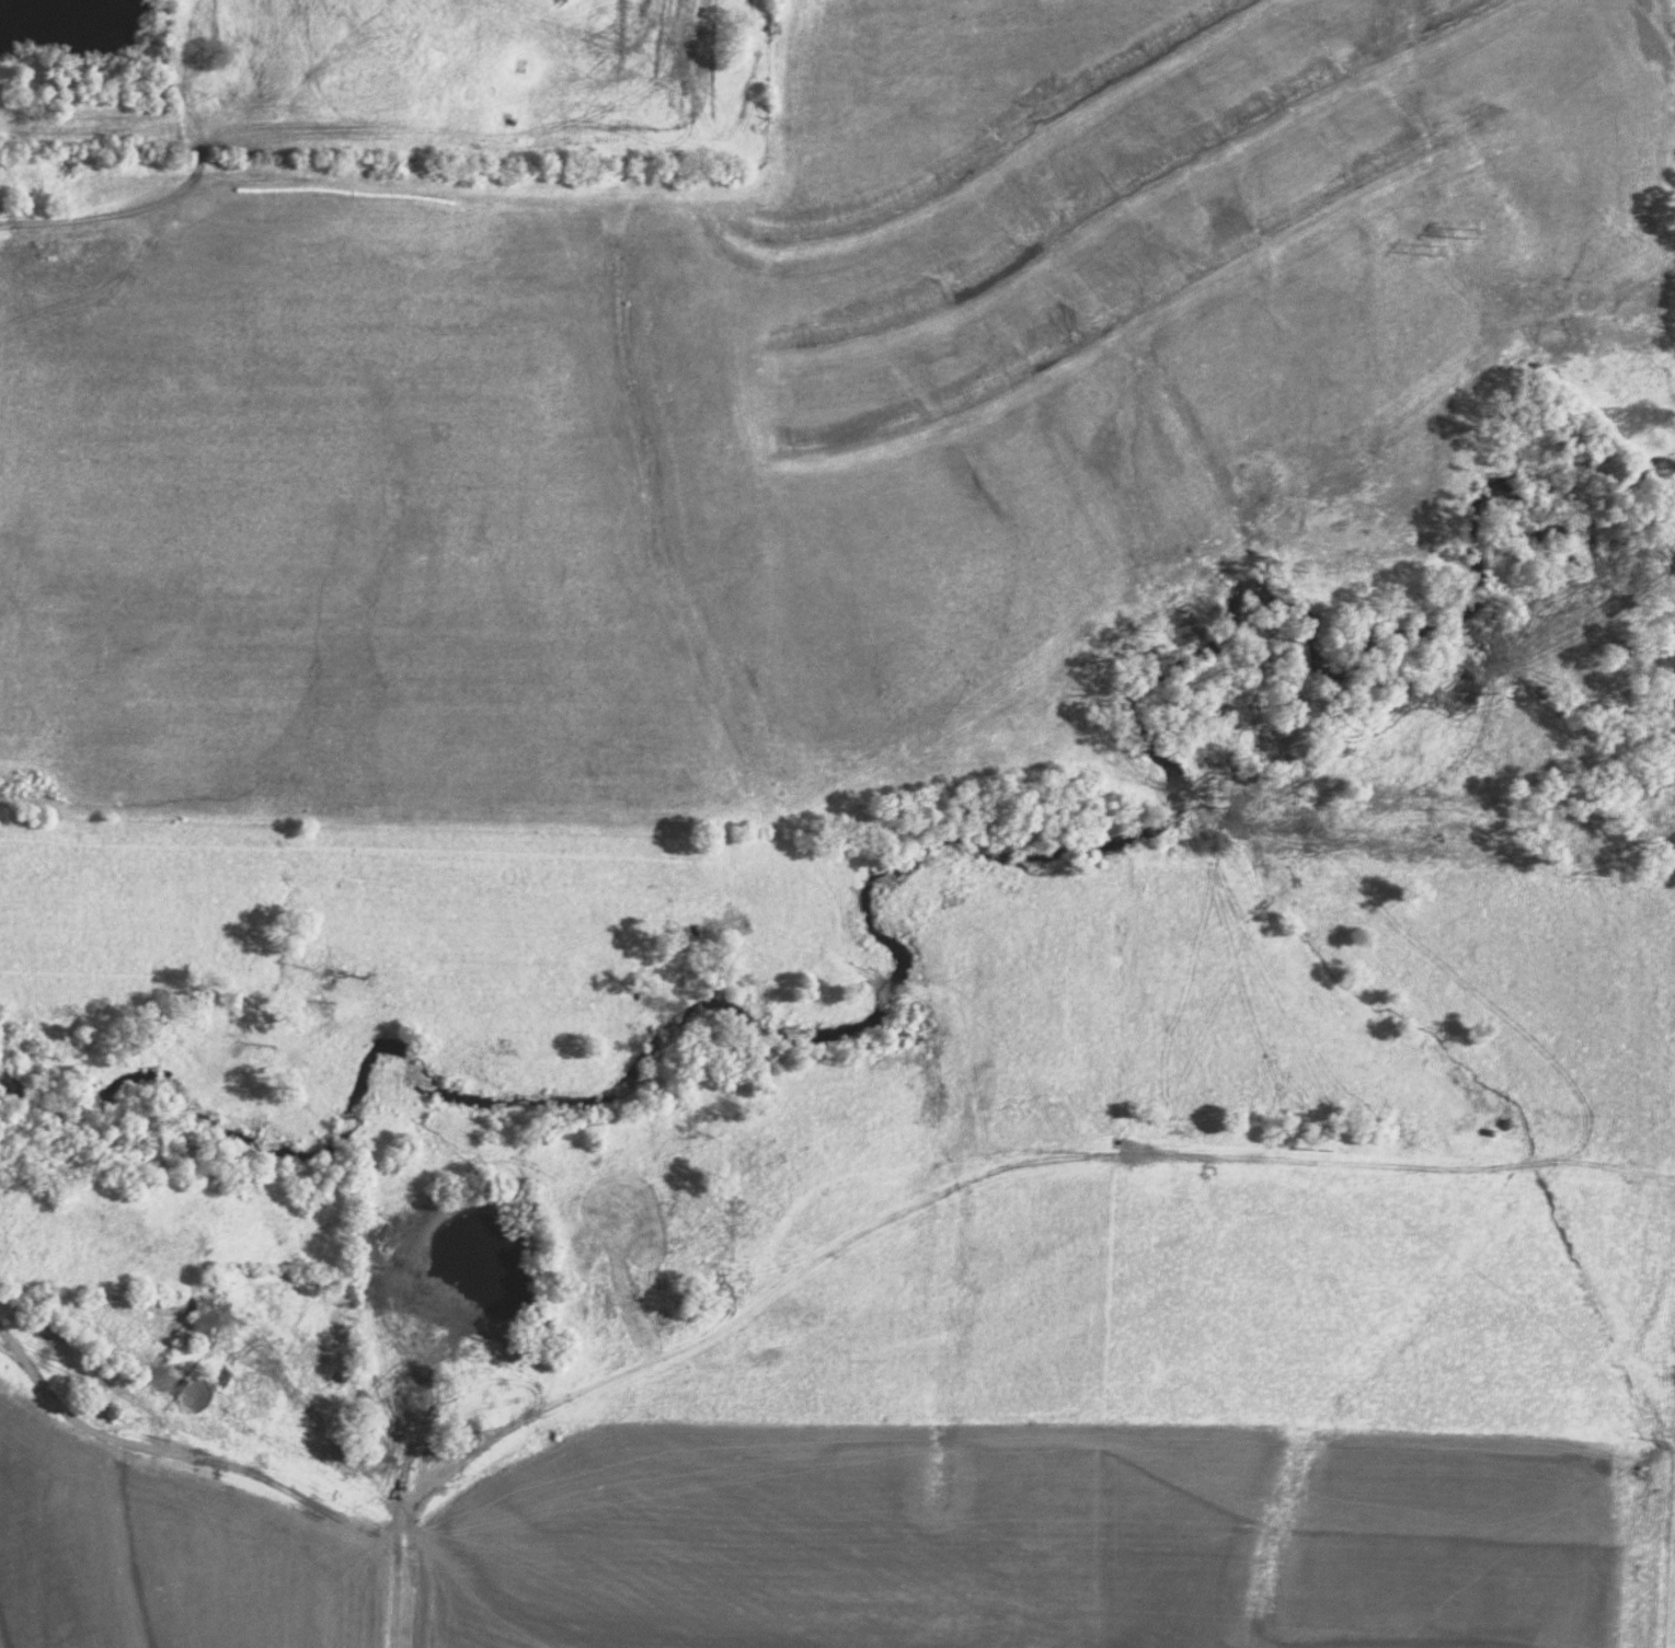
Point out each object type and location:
power tower: (1467, 221)
power tower: (1433, 251)
building: (199, 1324)
building: (240, 1406)
road: (181, 1451)
road: (403, 1589)

